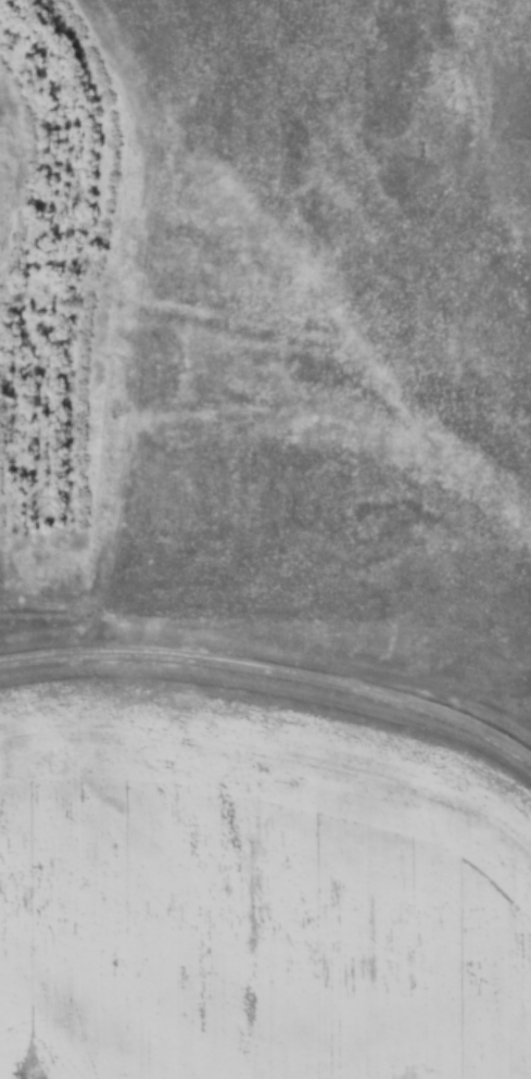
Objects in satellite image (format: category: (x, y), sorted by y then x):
road: (274, 674)

